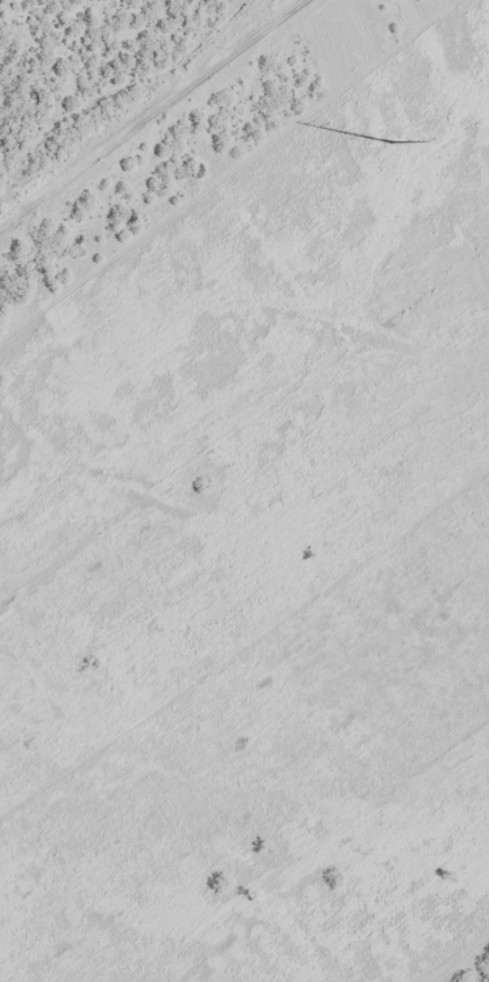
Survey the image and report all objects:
power tower: (432, 49)
power tower: (391, 141)

